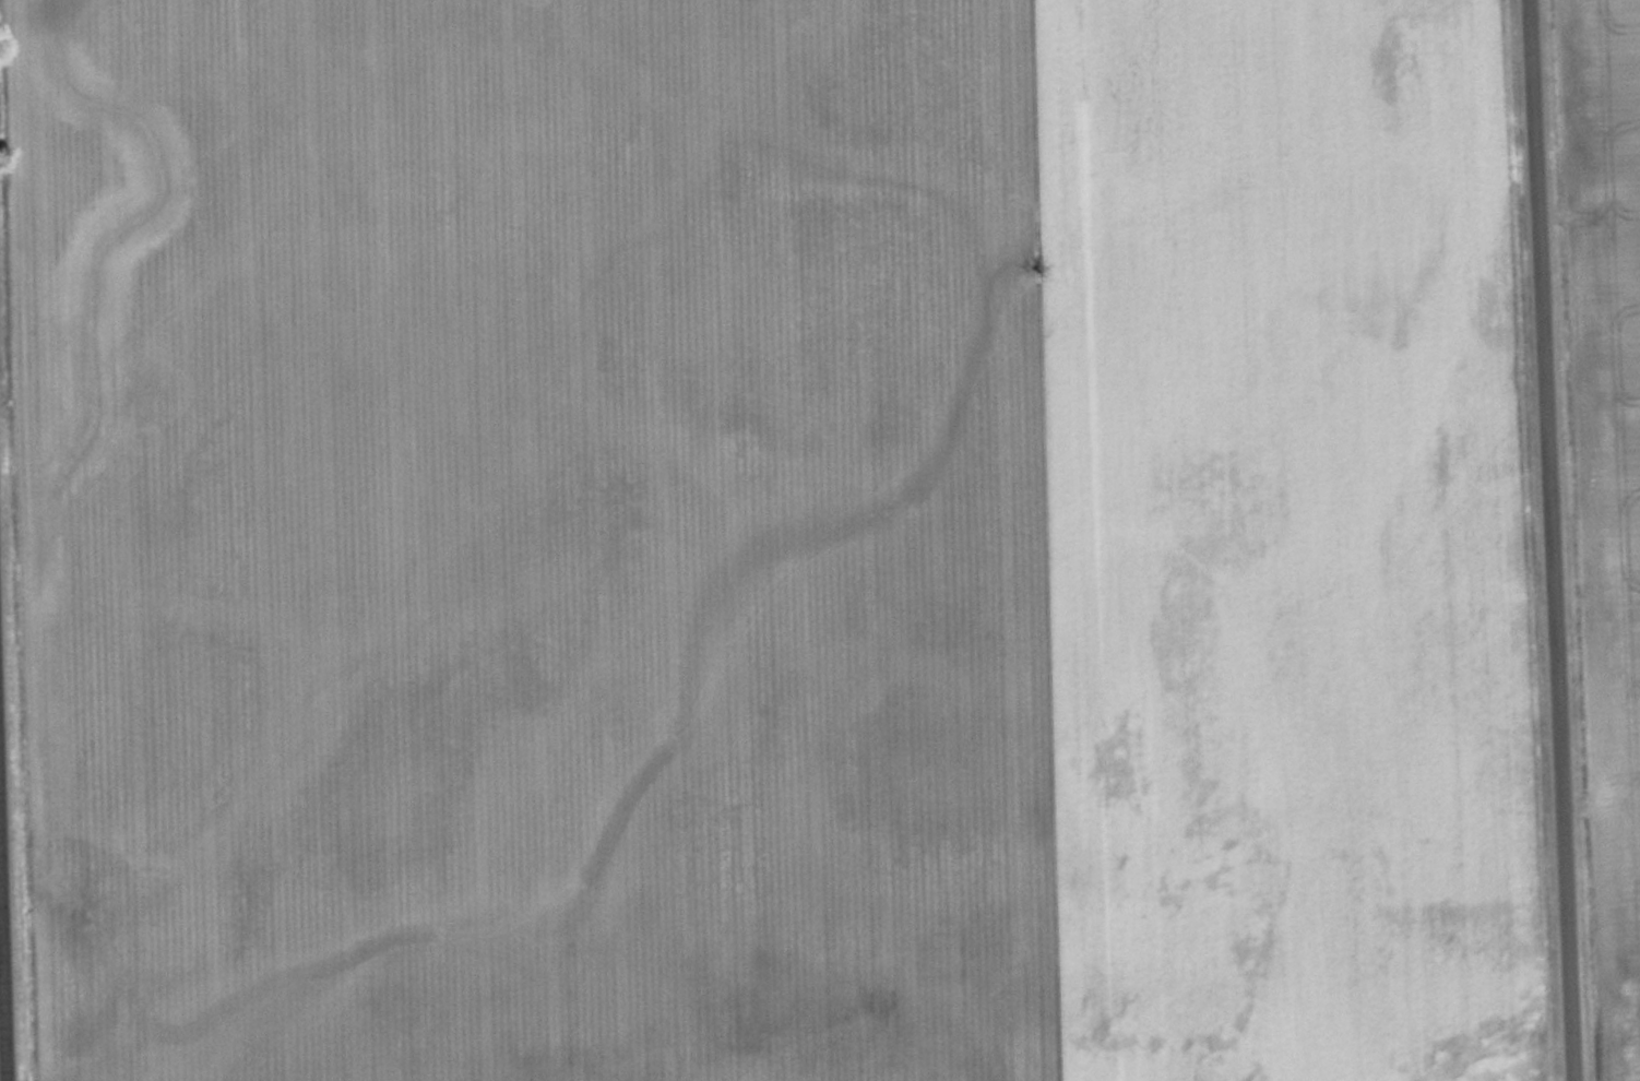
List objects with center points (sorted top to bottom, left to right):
road: (1553, 539)
road: (3, 917)

